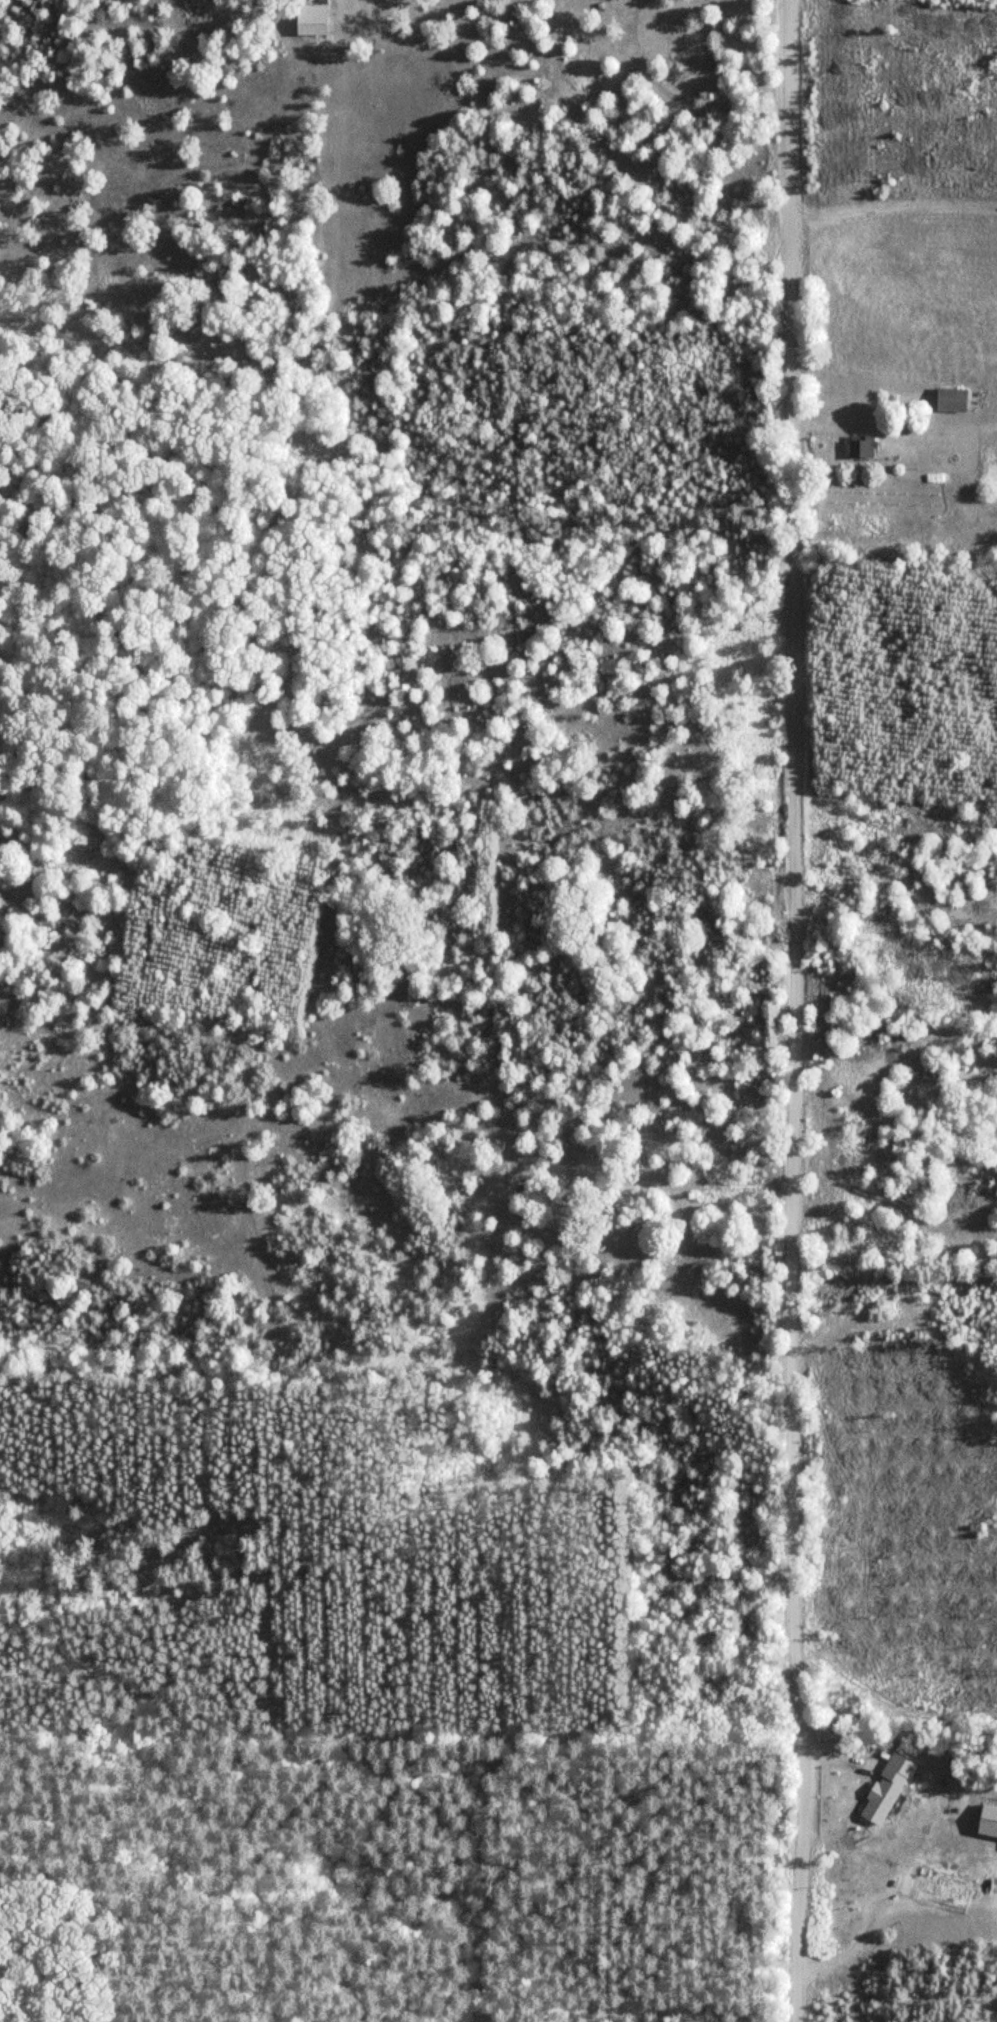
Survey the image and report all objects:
building: (311, 19)
building: (951, 398)
building: (863, 445)
road: (791, 1010)
building: (880, 1800)

